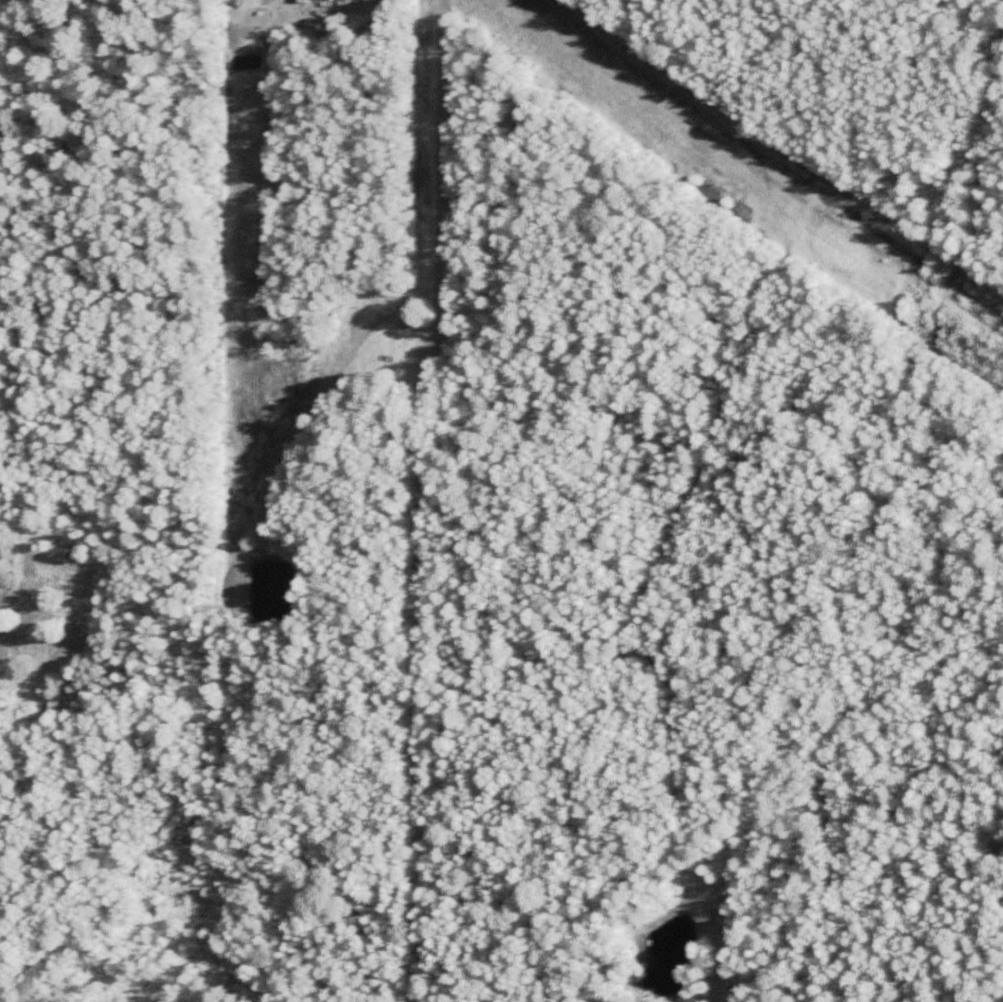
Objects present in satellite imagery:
building: (299, 1)

